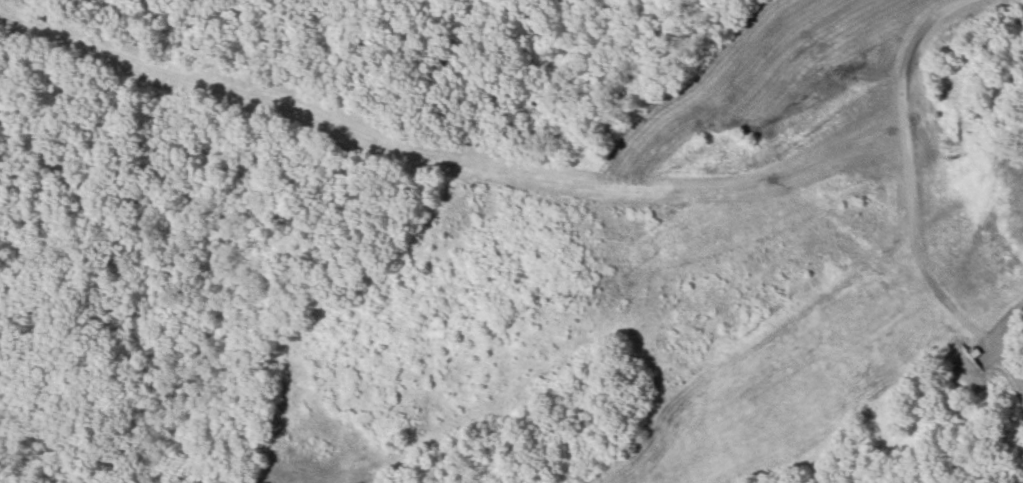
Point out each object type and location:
road: (908, 169)
road: (992, 343)

